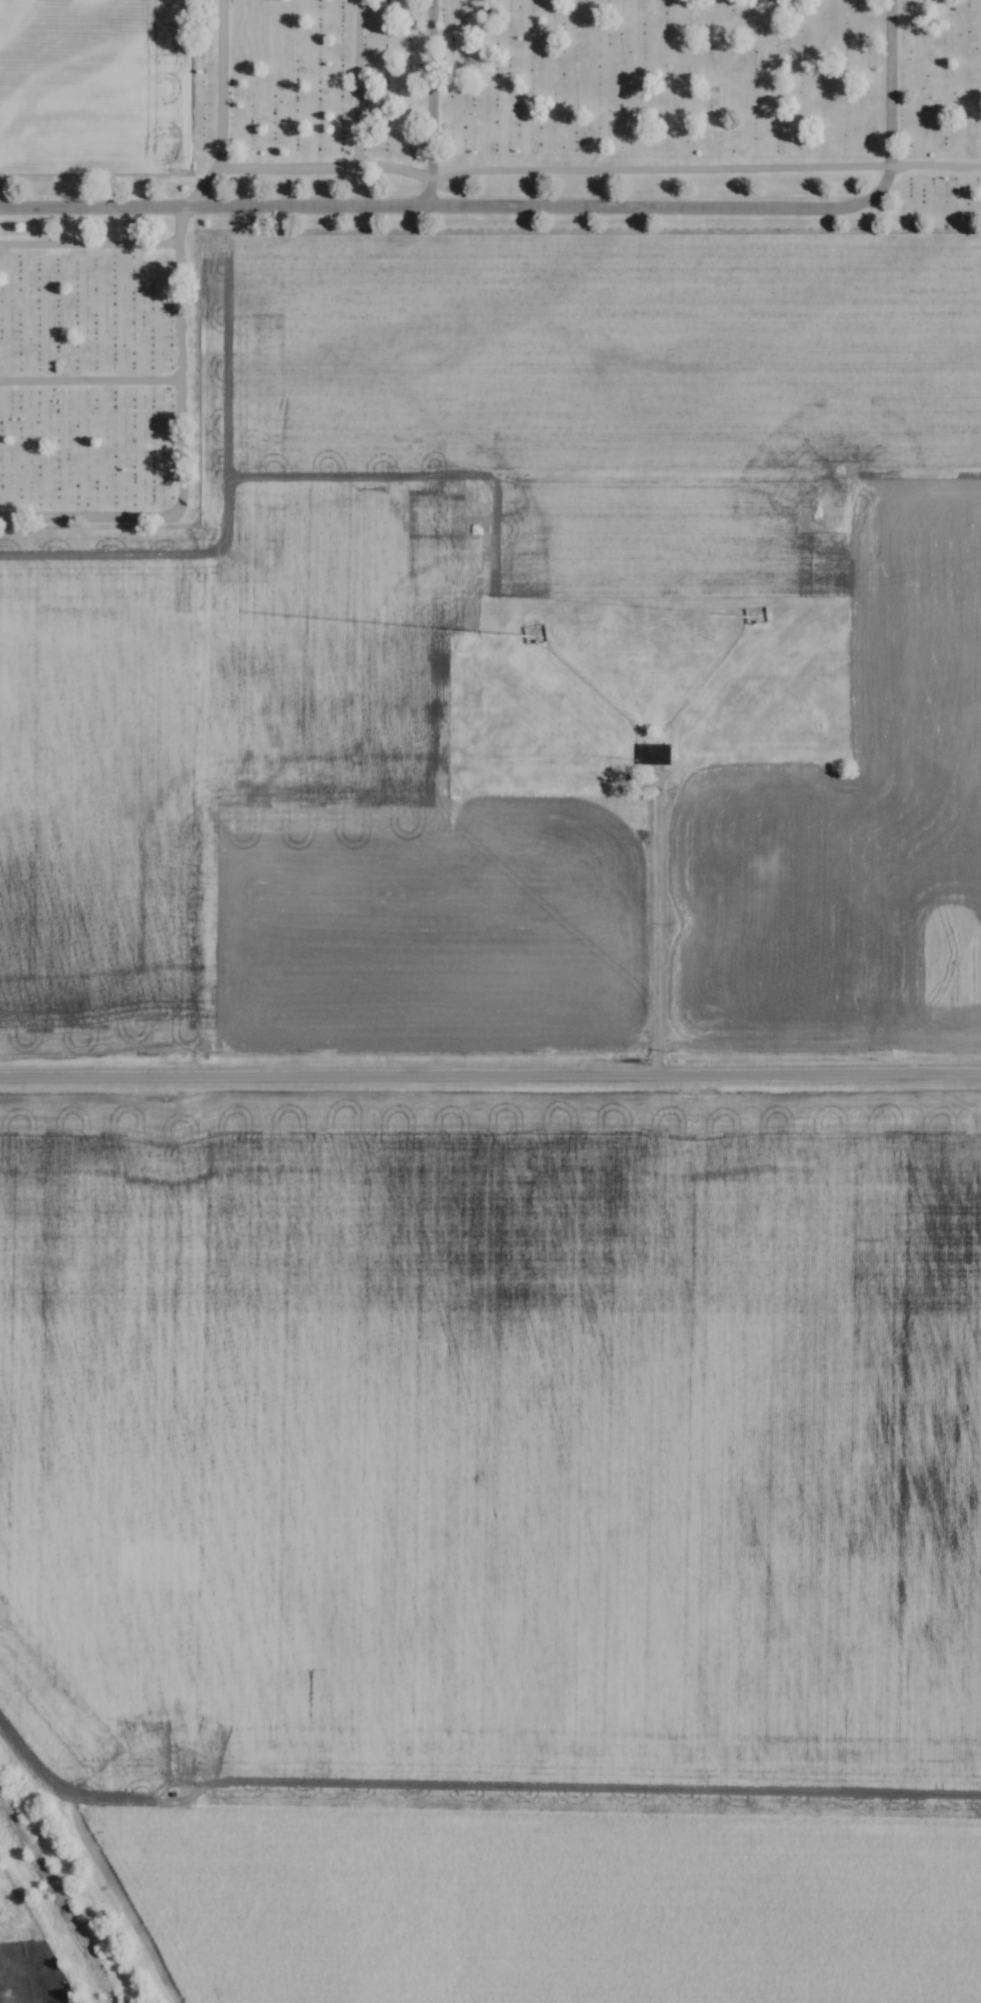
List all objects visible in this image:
road: (355, 82)
road: (427, 107)
park: (581, 117)
road: (599, 176)
road: (118, 205)
road: (630, 215)
road: (89, 242)
road: (90, 378)
park: (91, 385)
road: (181, 449)
building: (537, 632)
building: (656, 753)
road: (657, 928)
road: (490, 1076)
railway: (62, 1898)

